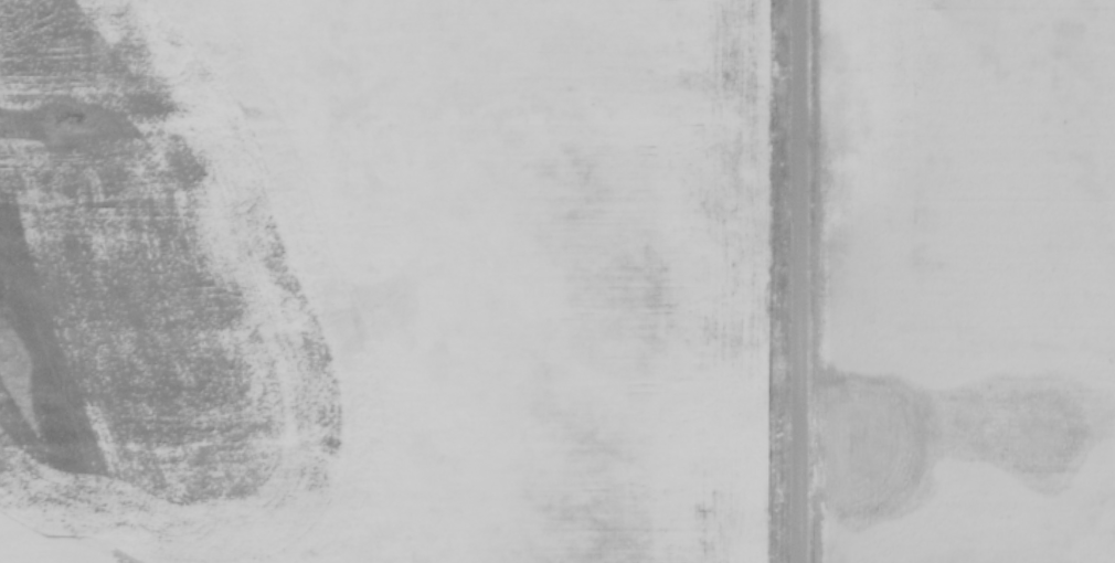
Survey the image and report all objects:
road: (798, 281)

